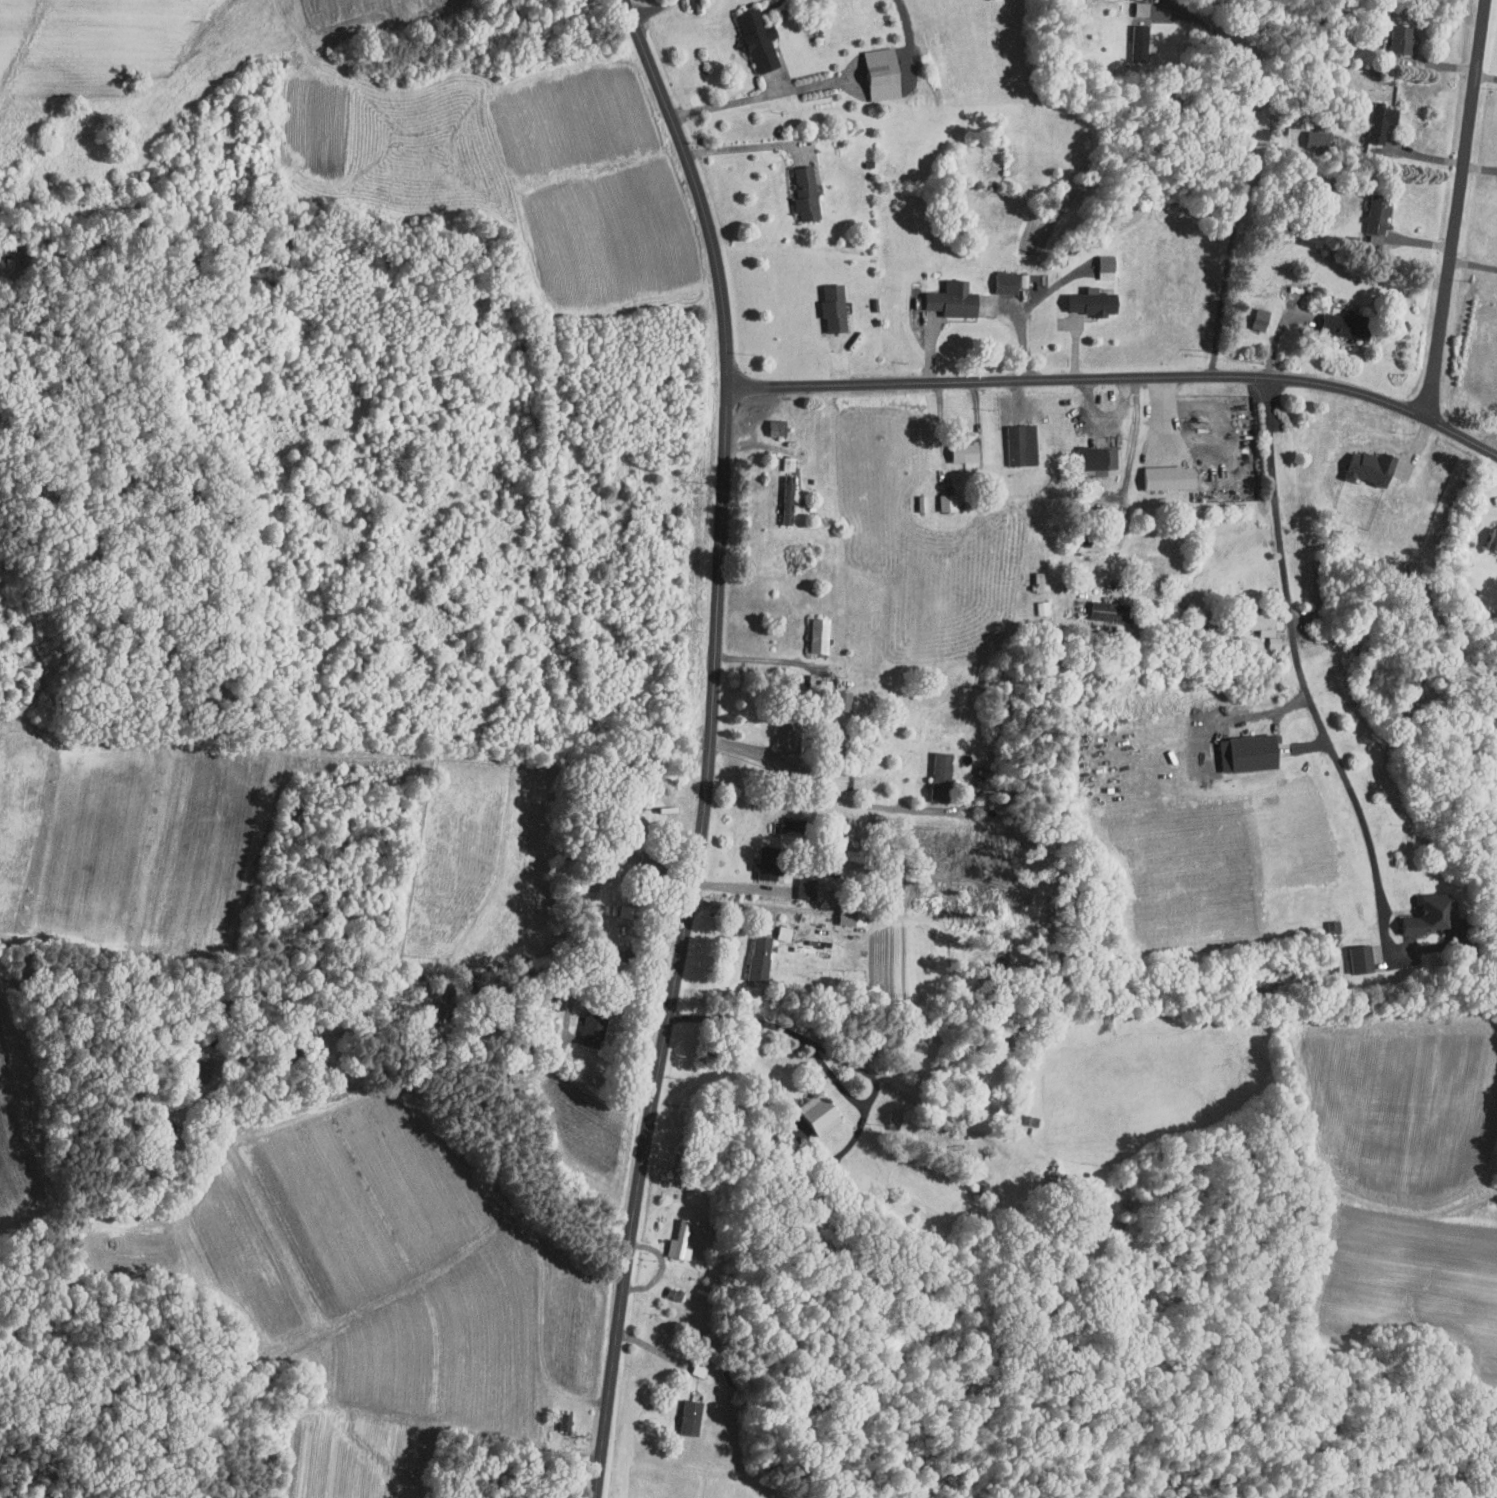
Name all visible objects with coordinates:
building: (686, 1)
building: (1132, 4)
road: (651, 9)
road: (909, 19)
building: (749, 32)
building: (1389, 32)
building: (1130, 36)
building: (875, 66)
road: (1486, 76)
road: (753, 97)
building: (1372, 116)
building: (1307, 133)
road: (753, 146)
road: (1480, 167)
road: (1244, 172)
building: (797, 186)
building: (1369, 208)
road: (1457, 208)
building: (1098, 256)
road: (1474, 263)
building: (999, 276)
building: (945, 294)
building: (1084, 295)
building: (825, 300)
building: (1251, 312)
building: (1339, 318)
road: (1276, 338)
road: (1119, 377)
building: (768, 421)
road: (1122, 433)
building: (1011, 438)
road: (753, 443)
building: (957, 445)
building: (1087, 451)
building: (1361, 460)
building: (1161, 470)
building: (778, 493)
building: (913, 496)
building: (939, 496)
building: (1488, 531)
building: (1032, 574)
building: (1033, 601)
building: (1102, 604)
building: (811, 628)
building: (1260, 630)
road: (1295, 647)
road: (781, 660)
building: (778, 728)
road: (710, 744)
building: (1241, 746)
building: (933, 770)
road: (817, 787)
building: (759, 863)
building: (798, 881)
road: (757, 905)
building: (1422, 907)
building: (839, 911)
building: (752, 951)
building: (1352, 952)
road: (622, 977)
building: (585, 1022)
road: (783, 1025)
building: (671, 1235)
building: (683, 1411)
building: (555, 1415)

